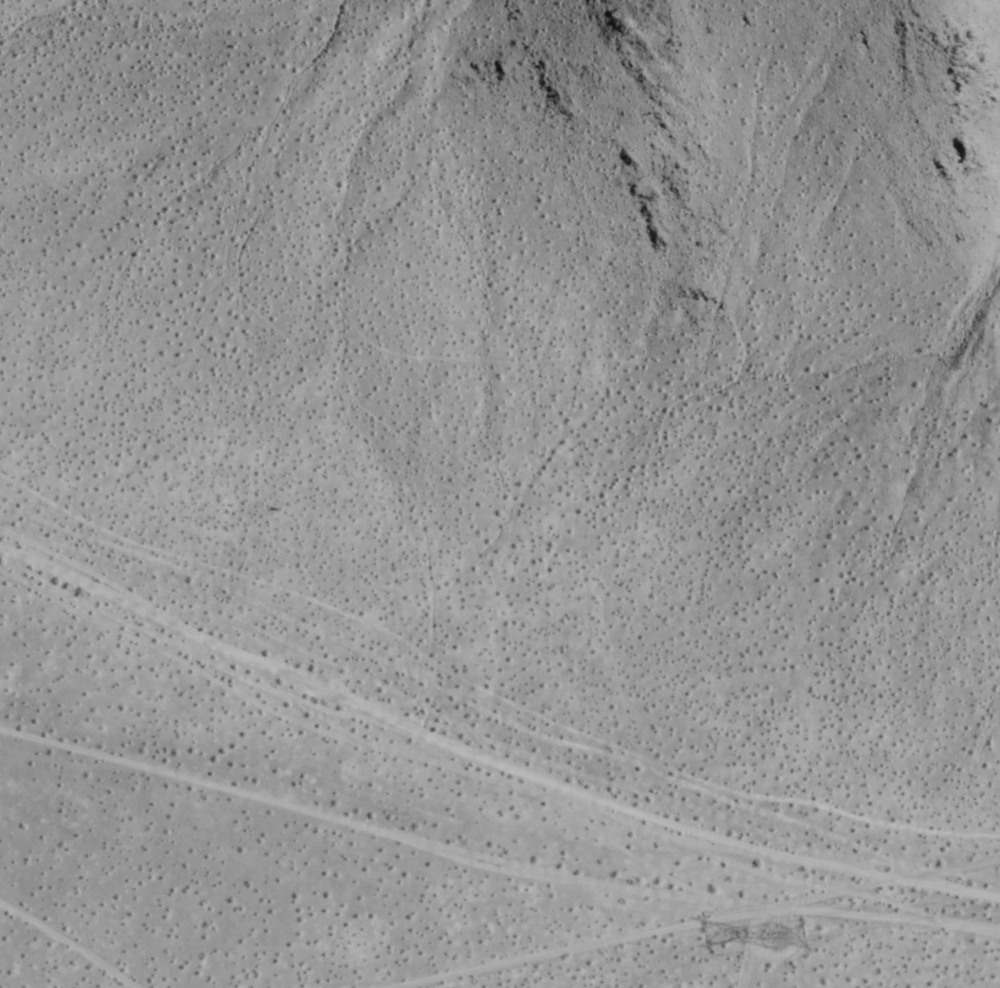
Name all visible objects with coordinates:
road: (487, 756)
power tower: (789, 930)

